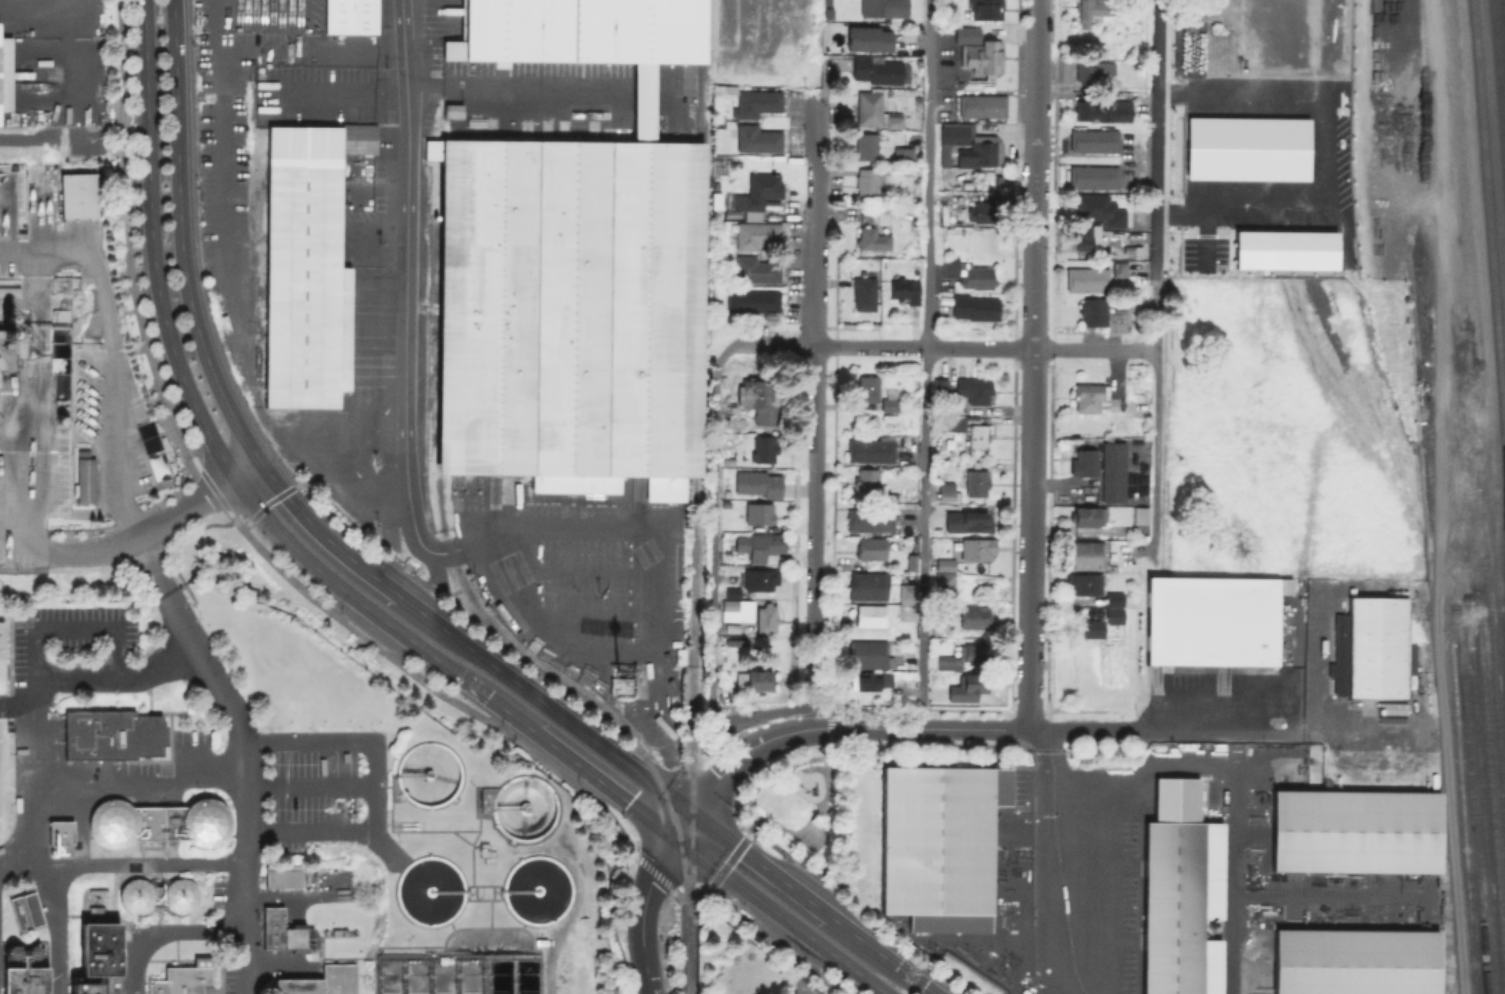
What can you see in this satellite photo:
building: (827, 2)
building: (883, 8)
building: (985, 8)
building: (1092, 10)
building: (828, 11)
building: (351, 18)
railway: (1503, 20)
road: (1036, 29)
building: (966, 32)
building: (868, 36)
road: (356, 55)
building: (982, 56)
building: (1090, 68)
building: (879, 69)
building: (5, 76)
railway: (1499, 79)
road: (515, 82)
building: (724, 87)
building: (756, 102)
building: (982, 104)
building: (869, 108)
building: (1102, 109)
road: (1035, 123)
building: (757, 138)
building: (1093, 140)
building: (866, 145)
building: (986, 145)
railway: (1493, 147)
building: (903, 154)
road: (815, 174)
building: (1092, 176)
building: (866, 180)
building: (757, 193)
building: (78, 195)
building: (900, 207)
building: (716, 210)
building: (1099, 210)
building: (980, 211)
building: (730, 213)
building: (756, 234)
building: (1086, 236)
road: (182, 237)
railway: (1490, 237)
building: (872, 238)
road: (1432, 256)
road: (1033, 268)
building: (1119, 268)
building: (756, 270)
building: (306, 272)
building: (573, 273)
building: (968, 273)
road: (1157, 278)
building: (1087, 279)
building: (904, 289)
building: (864, 292)
road: (404, 294)
building: (752, 300)
building: (1118, 305)
building: (974, 306)
building: (1092, 310)
road: (947, 346)
road: (112, 353)
road: (815, 360)
road: (923, 363)
building: (729, 384)
building: (940, 385)
building: (867, 388)
building: (974, 388)
building: (759, 395)
building: (1089, 397)
building: (890, 401)
building: (955, 421)
road: (206, 429)
building: (977, 435)
building: (763, 448)
building: (726, 449)
building: (870, 450)
building: (1083, 462)
building: (1112, 470)
building: (85, 481)
building: (976, 481)
building: (757, 483)
building: (866, 484)
building: (948, 490)
railway: (696, 497)
building: (758, 513)
building: (1140, 514)
building: (1088, 516)
building: (868, 519)
building: (968, 521)
road: (159, 525)
road: (321, 533)
road: (1030, 538)
road: (21, 539)
building: (758, 544)
building: (870, 548)
building: (976, 552)
building: (1086, 556)
building: (911, 562)
building: (945, 564)
road: (711, 575)
building: (759, 579)
building: (1083, 583)
building: (944, 584)
building: (867, 586)
building: (731, 592)
building: (907, 593)
road: (812, 598)
building: (1113, 598)
building: (736, 610)
building: (1113, 614)
building: (869, 615)
building: (974, 616)
building: (765, 618)
building: (1210, 619)
building: (730, 626)
building: (1087, 628)
road: (75, 632)
building: (730, 641)
building: (1367, 648)
building: (869, 654)
building: (679, 655)
building: (961, 657)
building: (3, 660)
railway: (1491, 664)
building: (753, 679)
building: (870, 680)
building: (967, 687)
road: (36, 694)
building: (733, 694)
railway: (590, 698)
road: (18, 701)
road: (544, 704)
road: (928, 727)
road: (1082, 729)
road: (1290, 734)
building: (115, 737)
road: (747, 749)
road: (244, 752)
railway: (1489, 759)
road: (602, 779)
road: (759, 782)
road: (372, 786)
road: (309, 787)
road: (1234, 789)
road: (142, 792)
railway: (1482, 807)
park: (796, 810)
wastewater plant: (275, 812)
traffic signals: (692, 815)
railway: (1462, 819)
building: (208, 824)
building: (114, 826)
building: (1353, 830)
building: (62, 834)
railway: (1475, 835)
traffic signals: (679, 836)
building: (937, 843)
road: (1048, 851)
road: (758, 864)
road: (130, 869)
road: (722, 871)
building: (284, 877)
building: (1179, 892)
building: (137, 898)
building: (183, 898)
road: (644, 898)
road: (797, 926)
road: (53, 932)
building: (286, 933)
road: (169, 934)
building: (106, 949)
road: (881, 953)
building: (1353, 961)
road: (857, 971)
building: (29, 981)
building: (178, 981)
building: (321, 982)
road: (1058, 987)
building: (93, 988)

